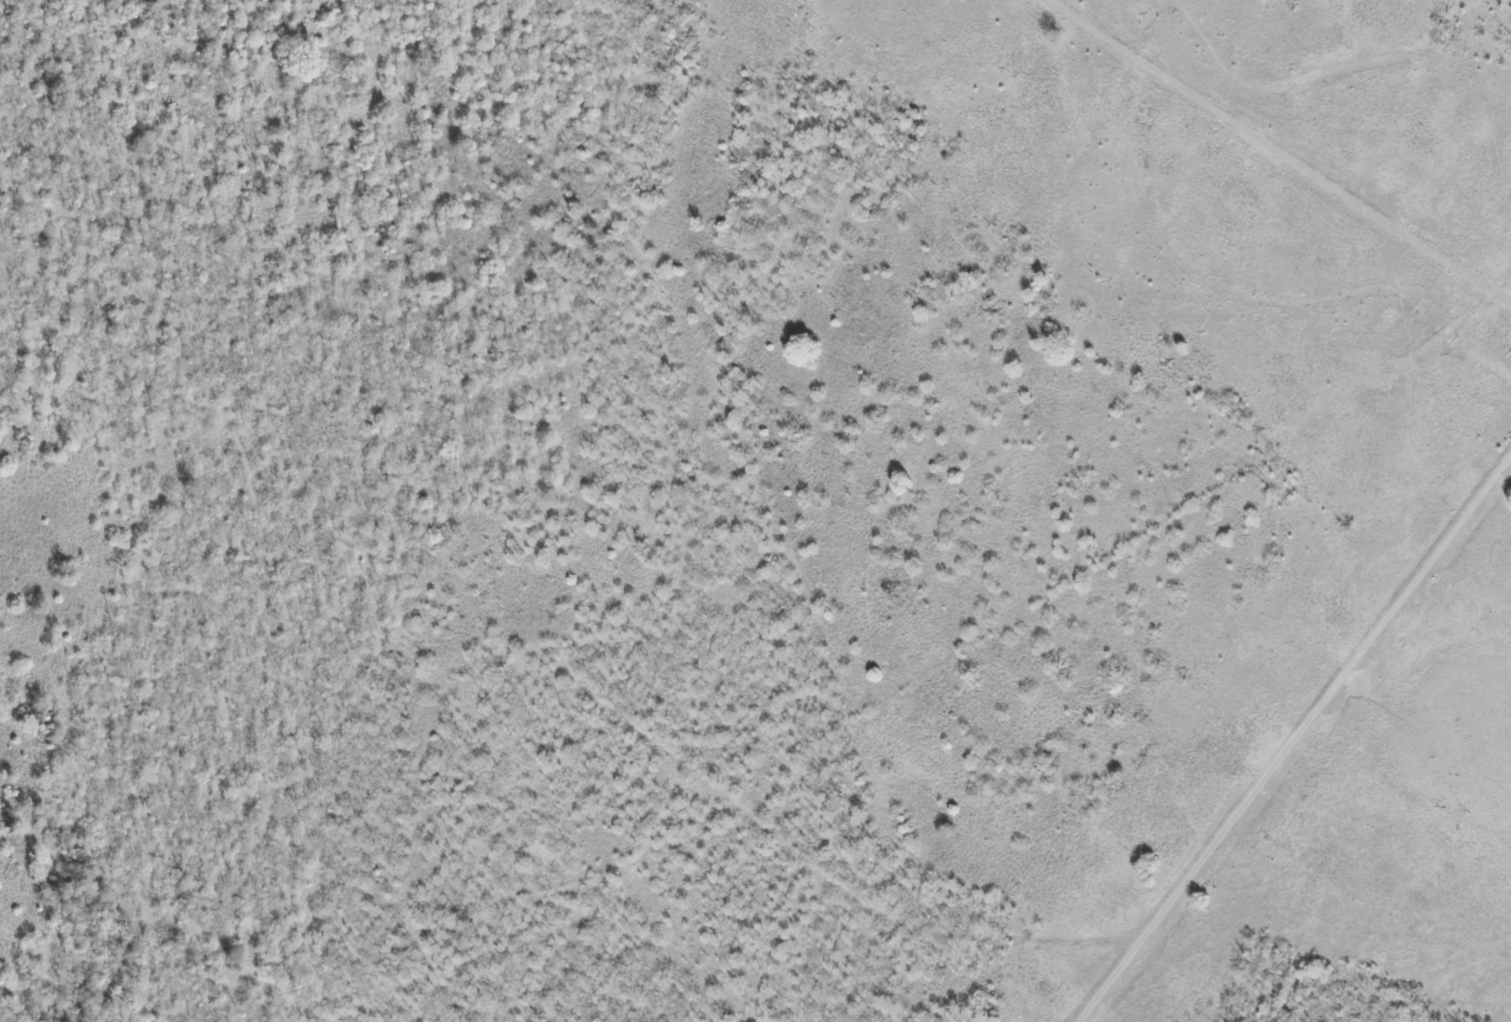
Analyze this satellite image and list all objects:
road: (1295, 738)

